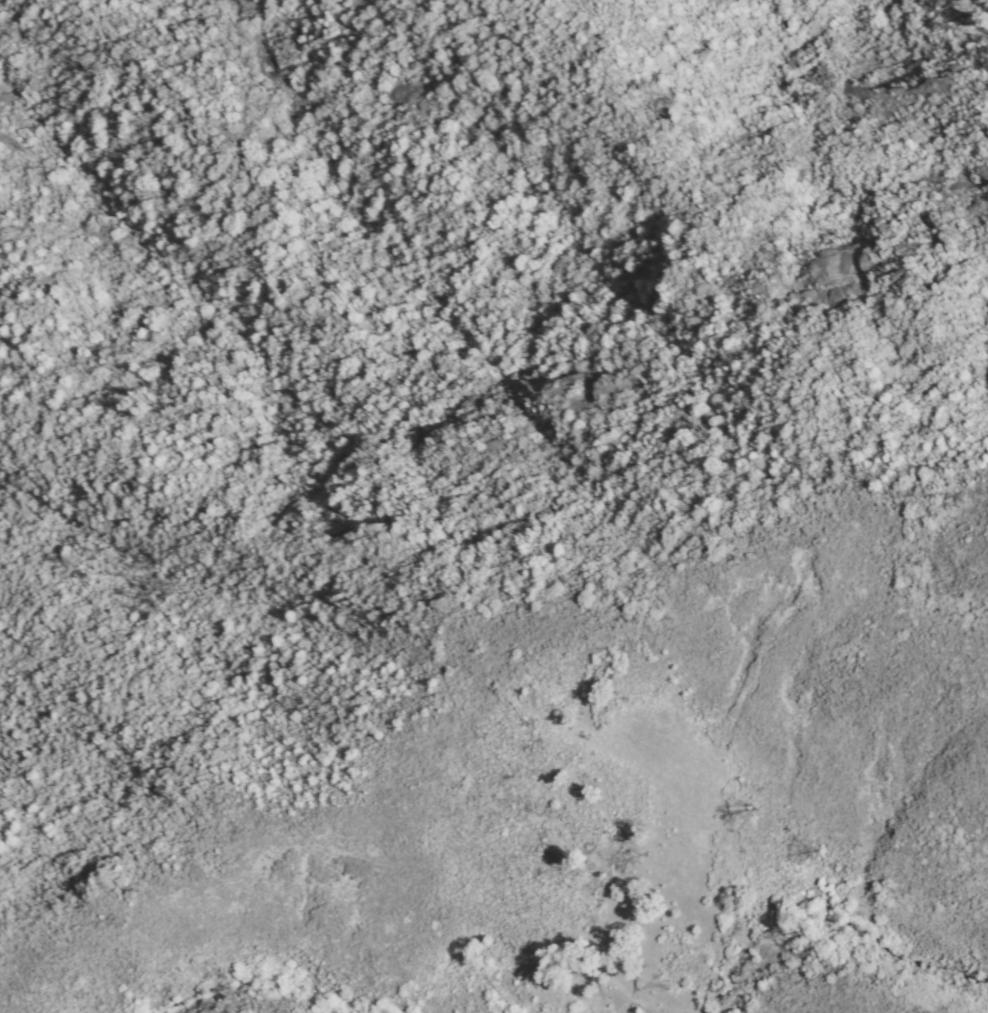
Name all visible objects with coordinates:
road: (378, 859)

